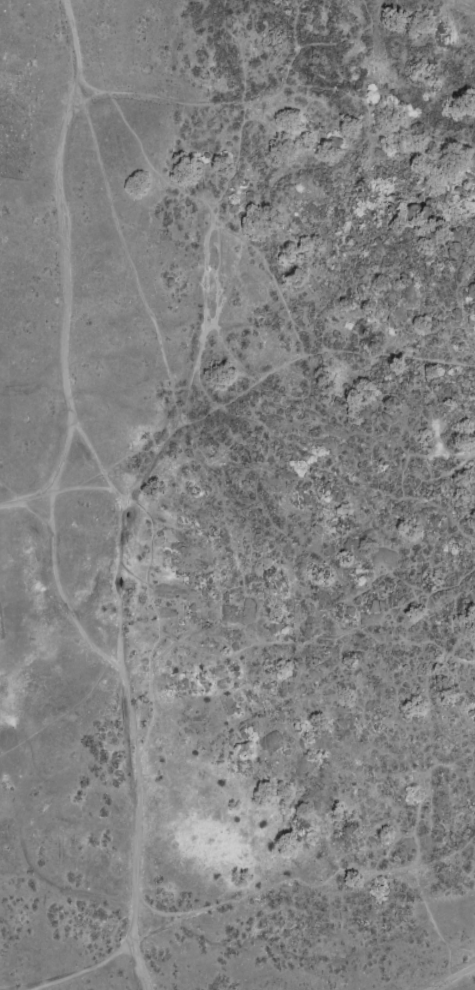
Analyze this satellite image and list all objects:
road: (230, 243)
road: (192, 382)
road: (122, 505)
road: (457, 979)

